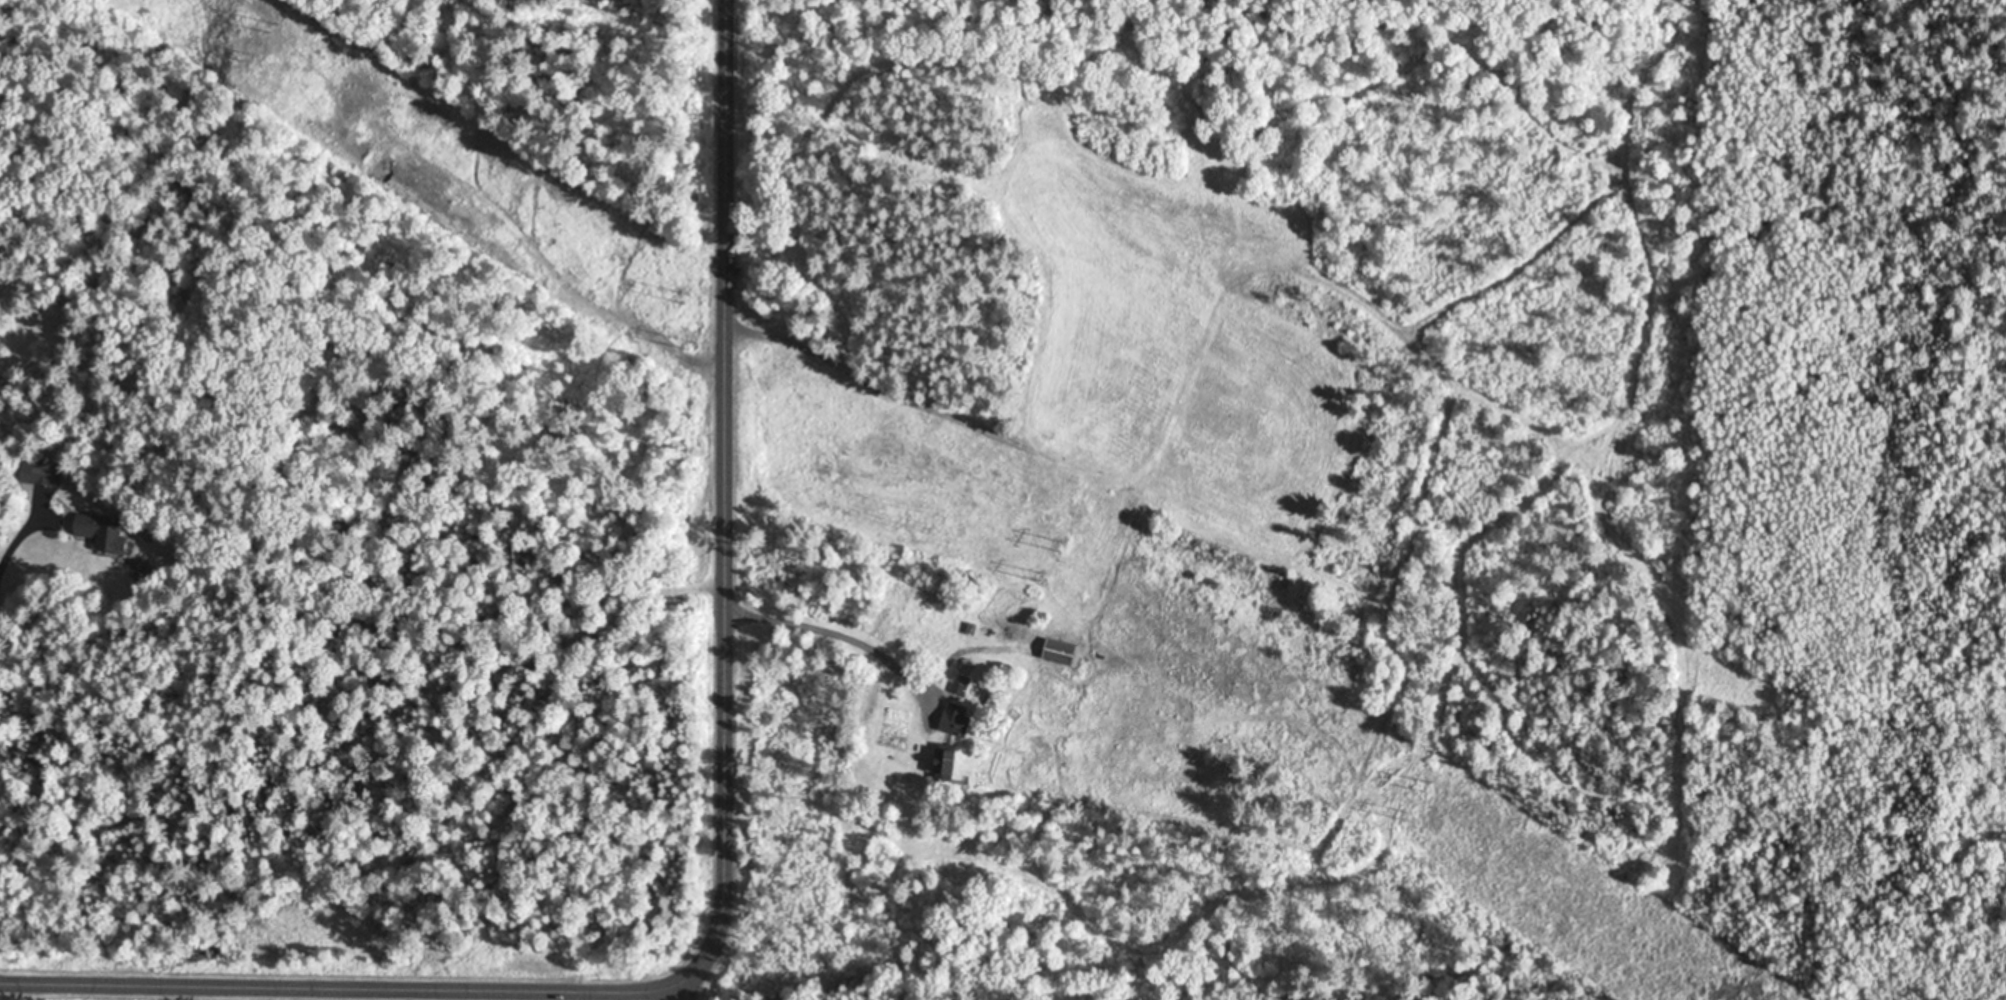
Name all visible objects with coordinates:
power tower: (272, 27)
power tower: (253, 57)
power tower: (685, 298)
power tower: (691, 347)
building: (45, 474)
road: (729, 495)
building: (97, 531)
power tower: (1063, 545)
power tower: (1043, 576)
building: (1057, 652)
road: (836, 658)
building: (953, 720)
building: (942, 763)
power tower: (1429, 785)
power tower: (1406, 815)
road: (343, 988)
road: (685, 988)

